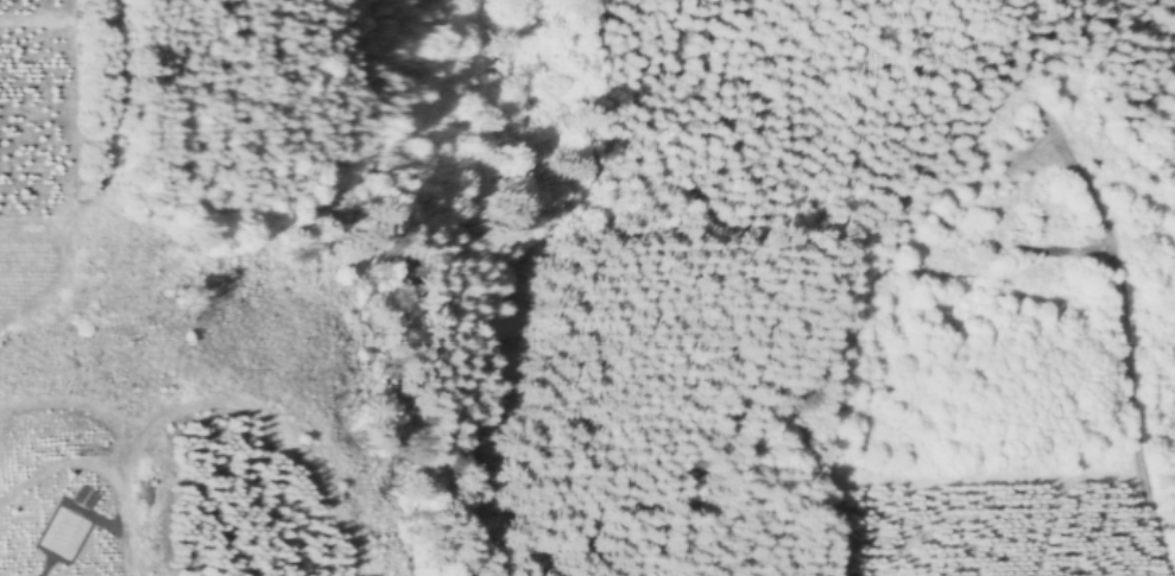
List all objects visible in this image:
road: (1125, 372)

